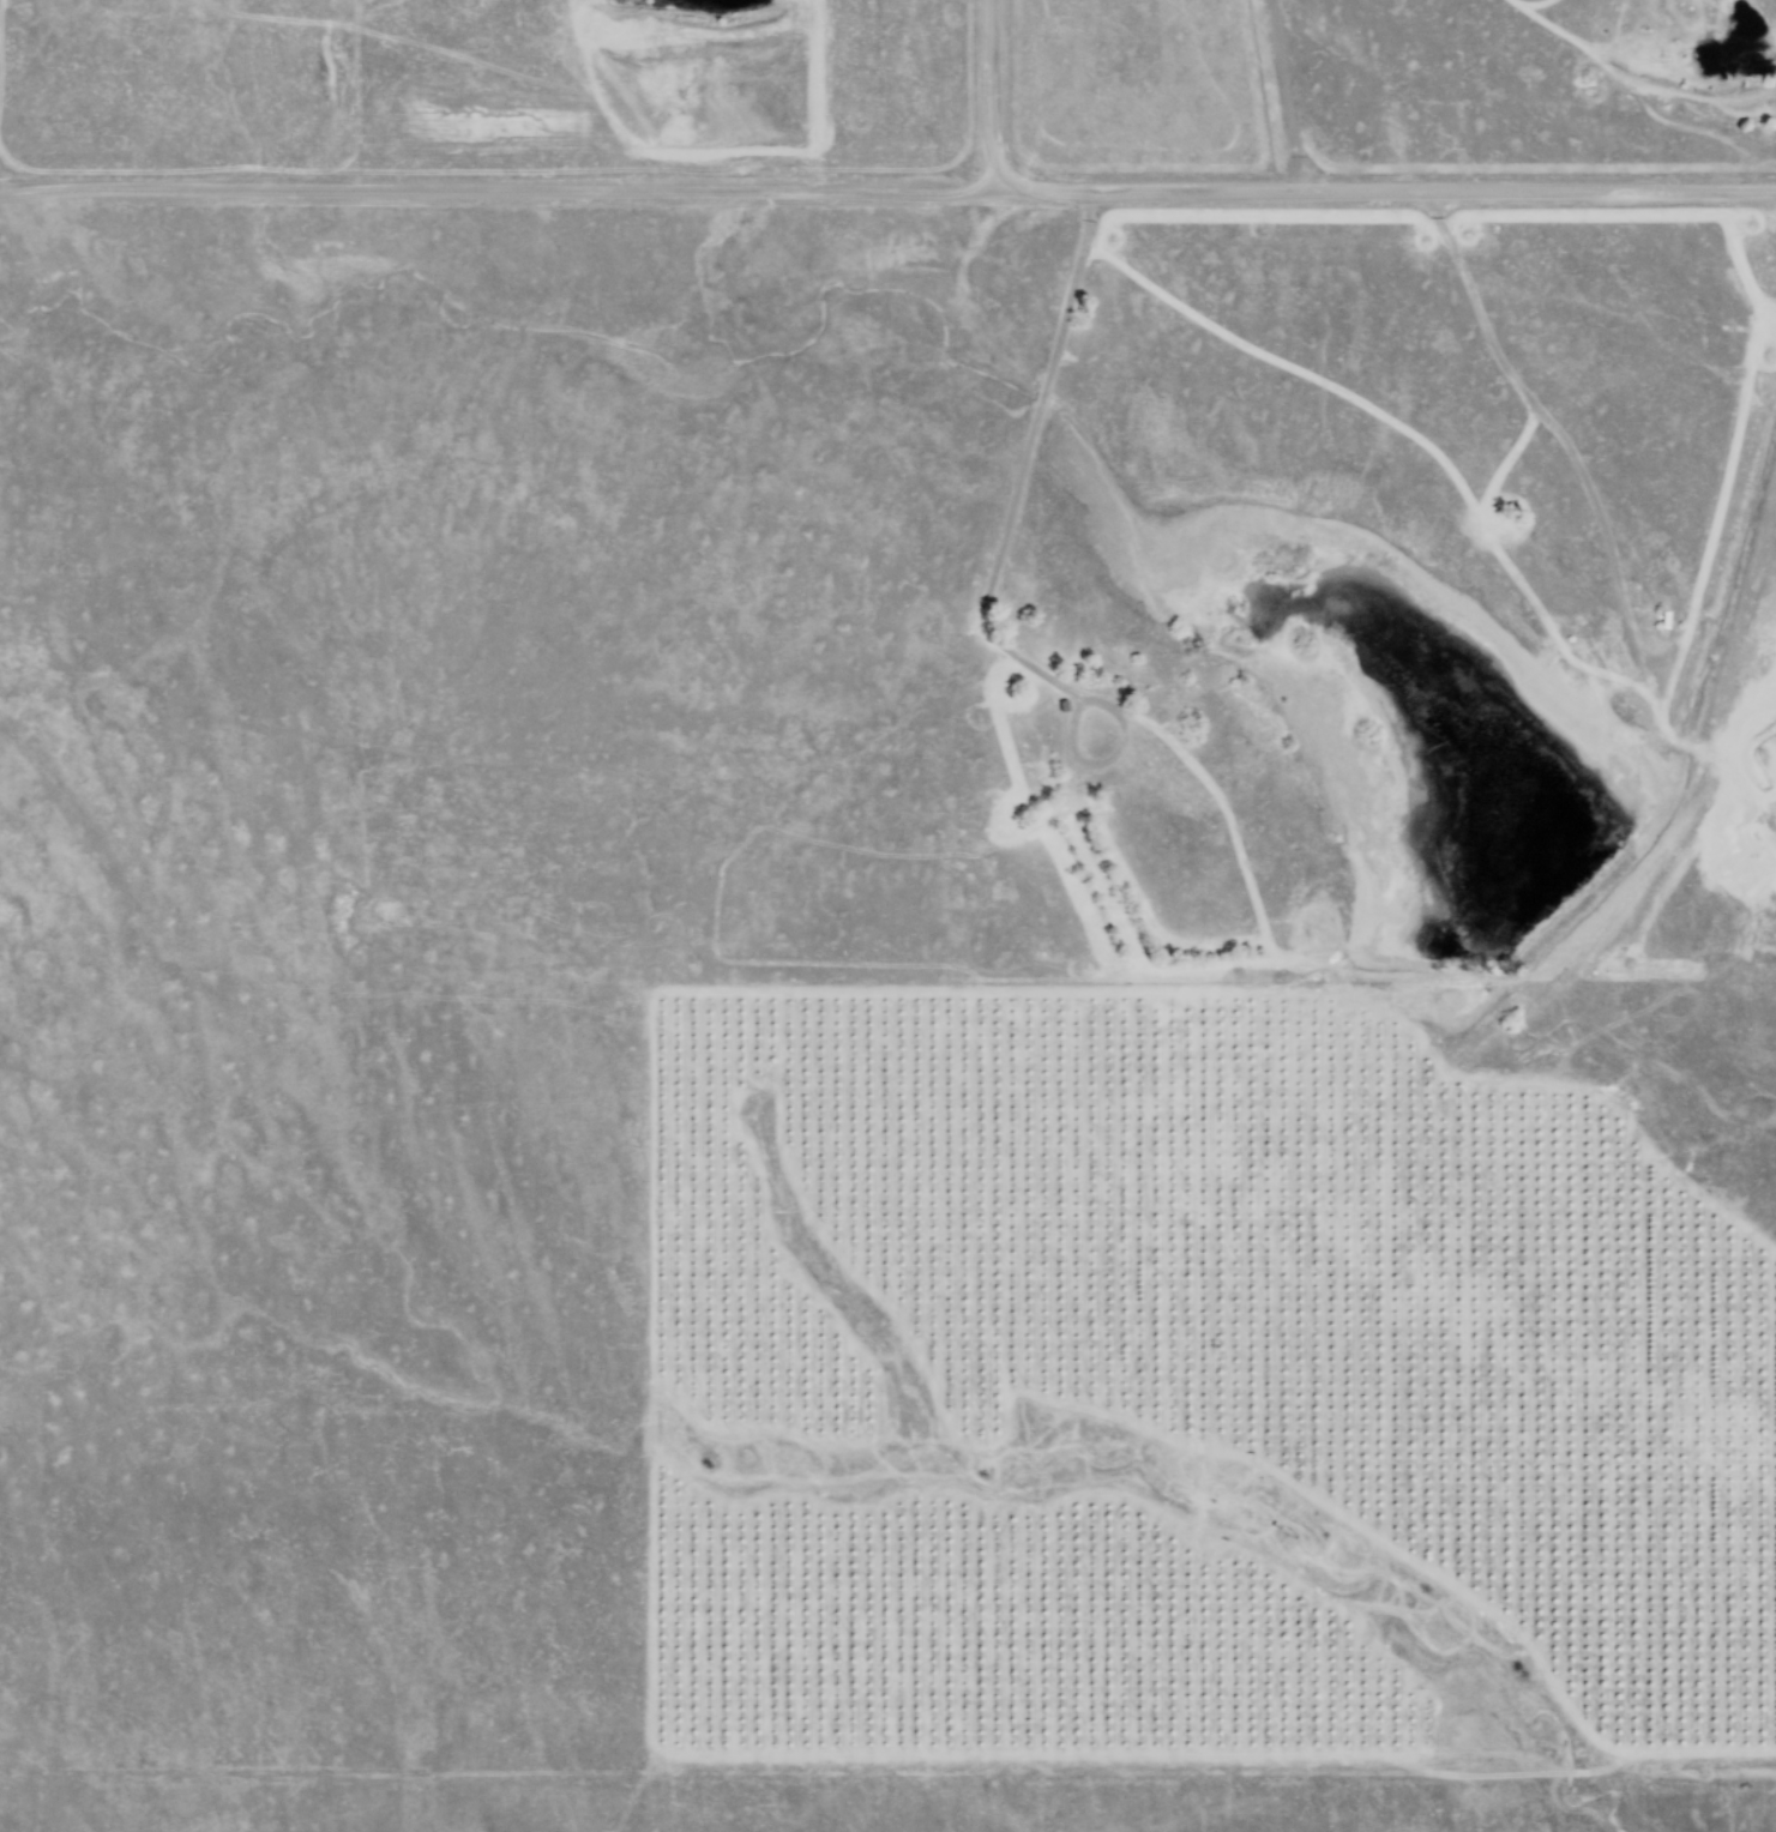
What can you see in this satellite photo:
road: (1283, 94)
road: (986, 96)
road: (1387, 188)
road: (500, 189)
dam: (1547, 945)
road: (887, 1773)

